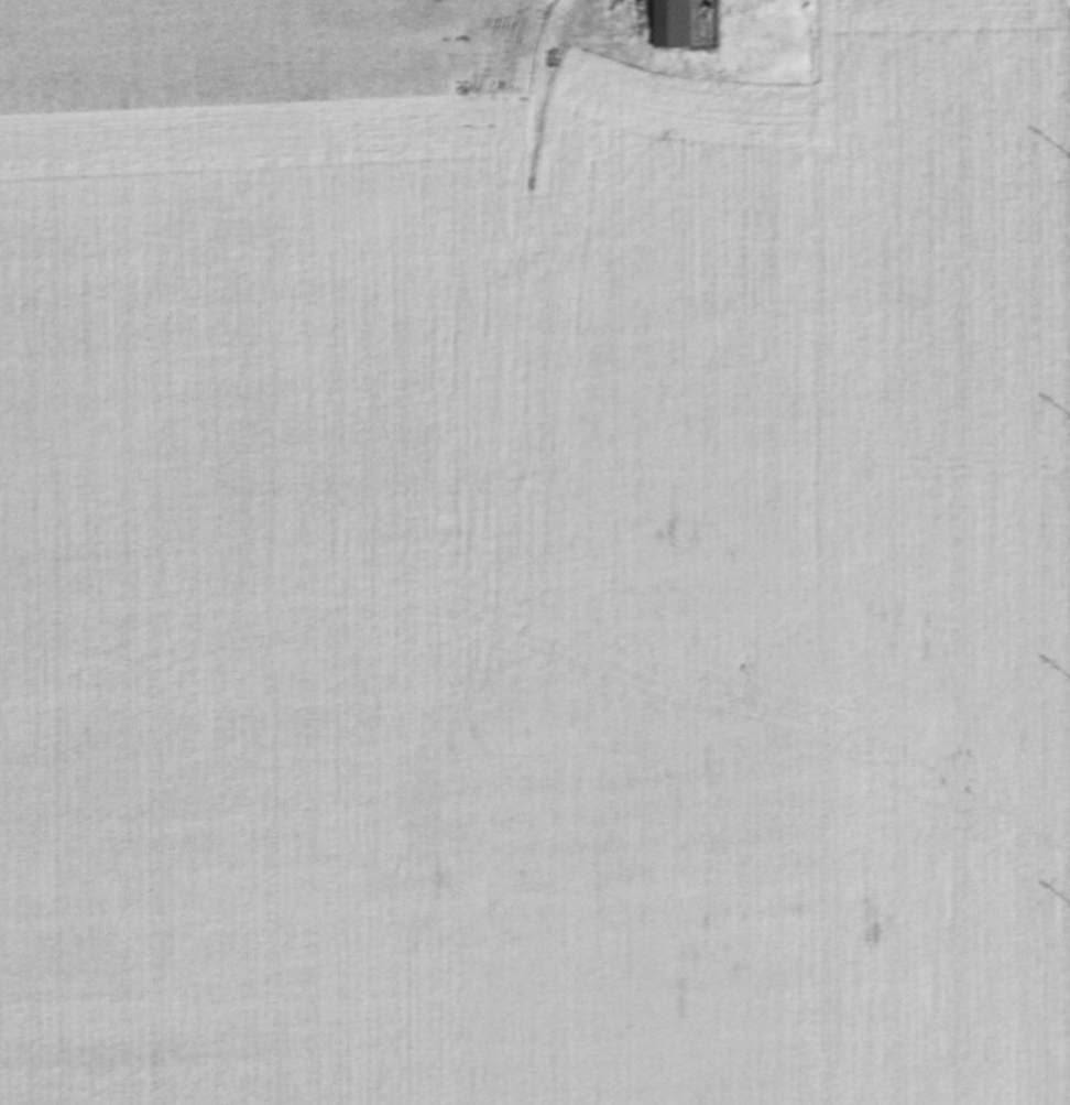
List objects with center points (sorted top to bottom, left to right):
building: (678, 25)

